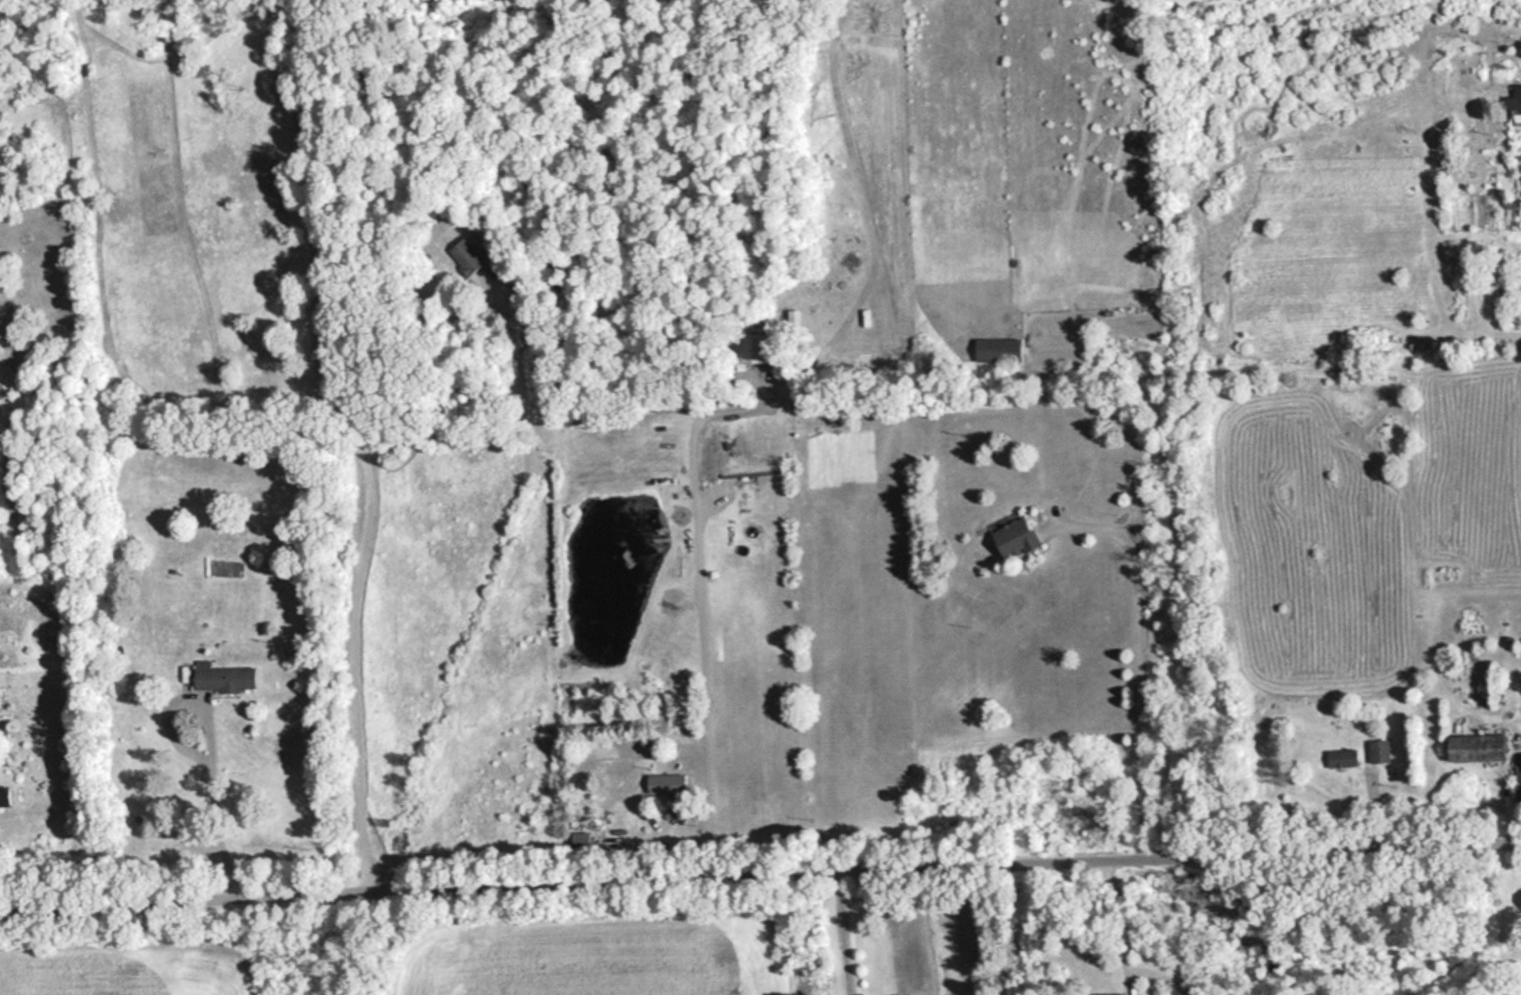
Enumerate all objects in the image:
building: (1513, 102)
building: (463, 255)
building: (752, 346)
building: (996, 349)
road: (370, 527)
building: (1013, 537)
road: (703, 605)
building: (592, 653)
road: (1141, 666)
building: (220, 677)
road: (209, 737)
building: (1473, 746)
building: (1379, 750)
building: (1342, 757)
building: (664, 782)
building: (580, 840)
road: (760, 856)
road: (1125, 913)
road: (843, 925)

